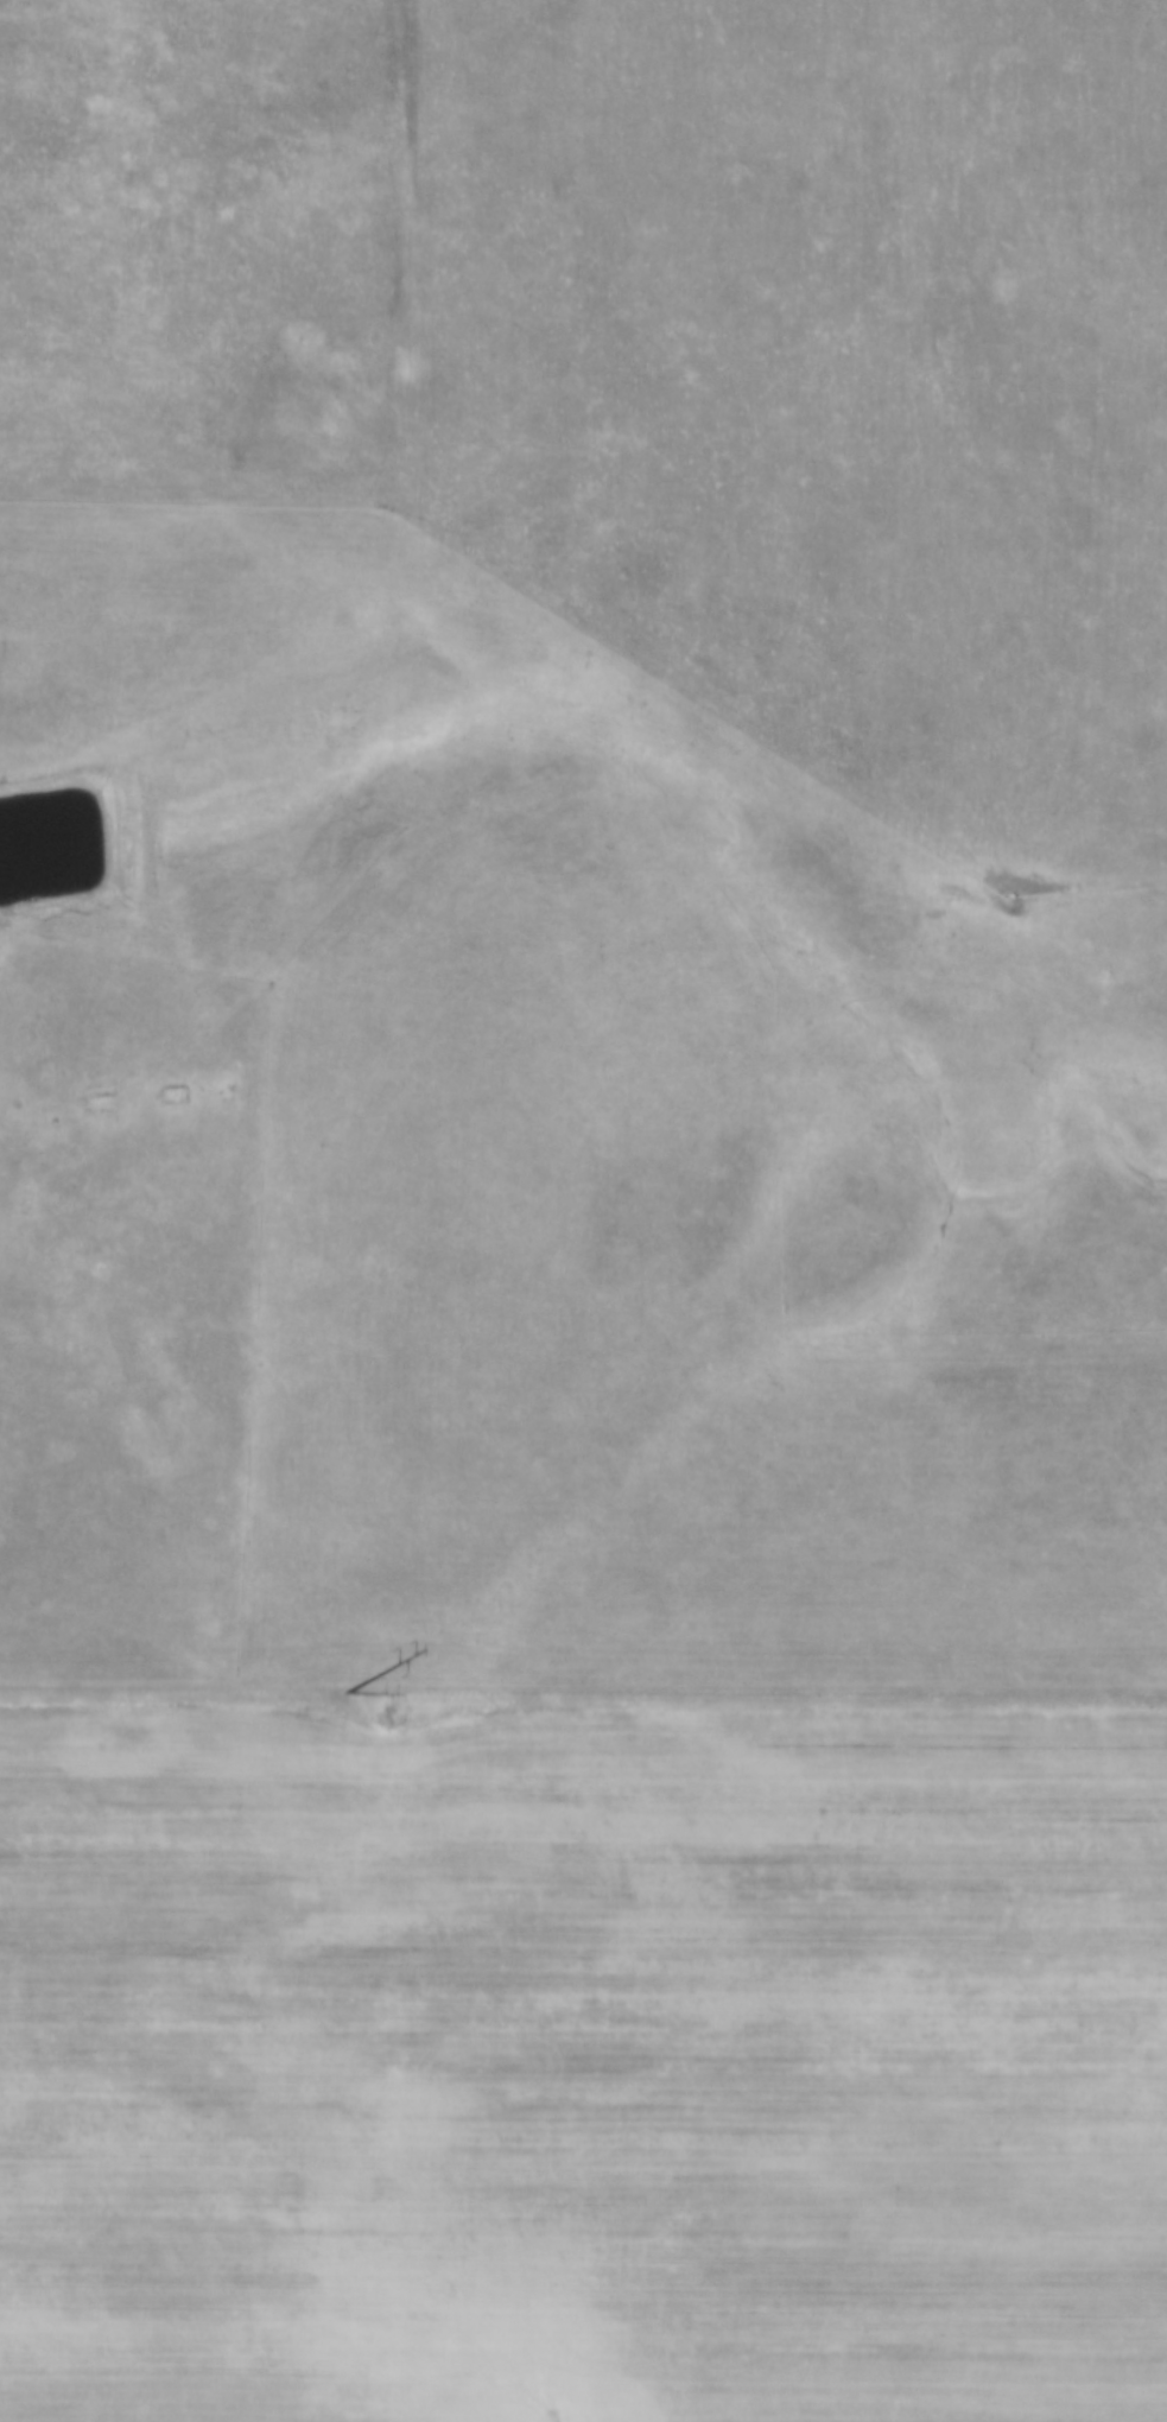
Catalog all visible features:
power tower: (343, 1689)

